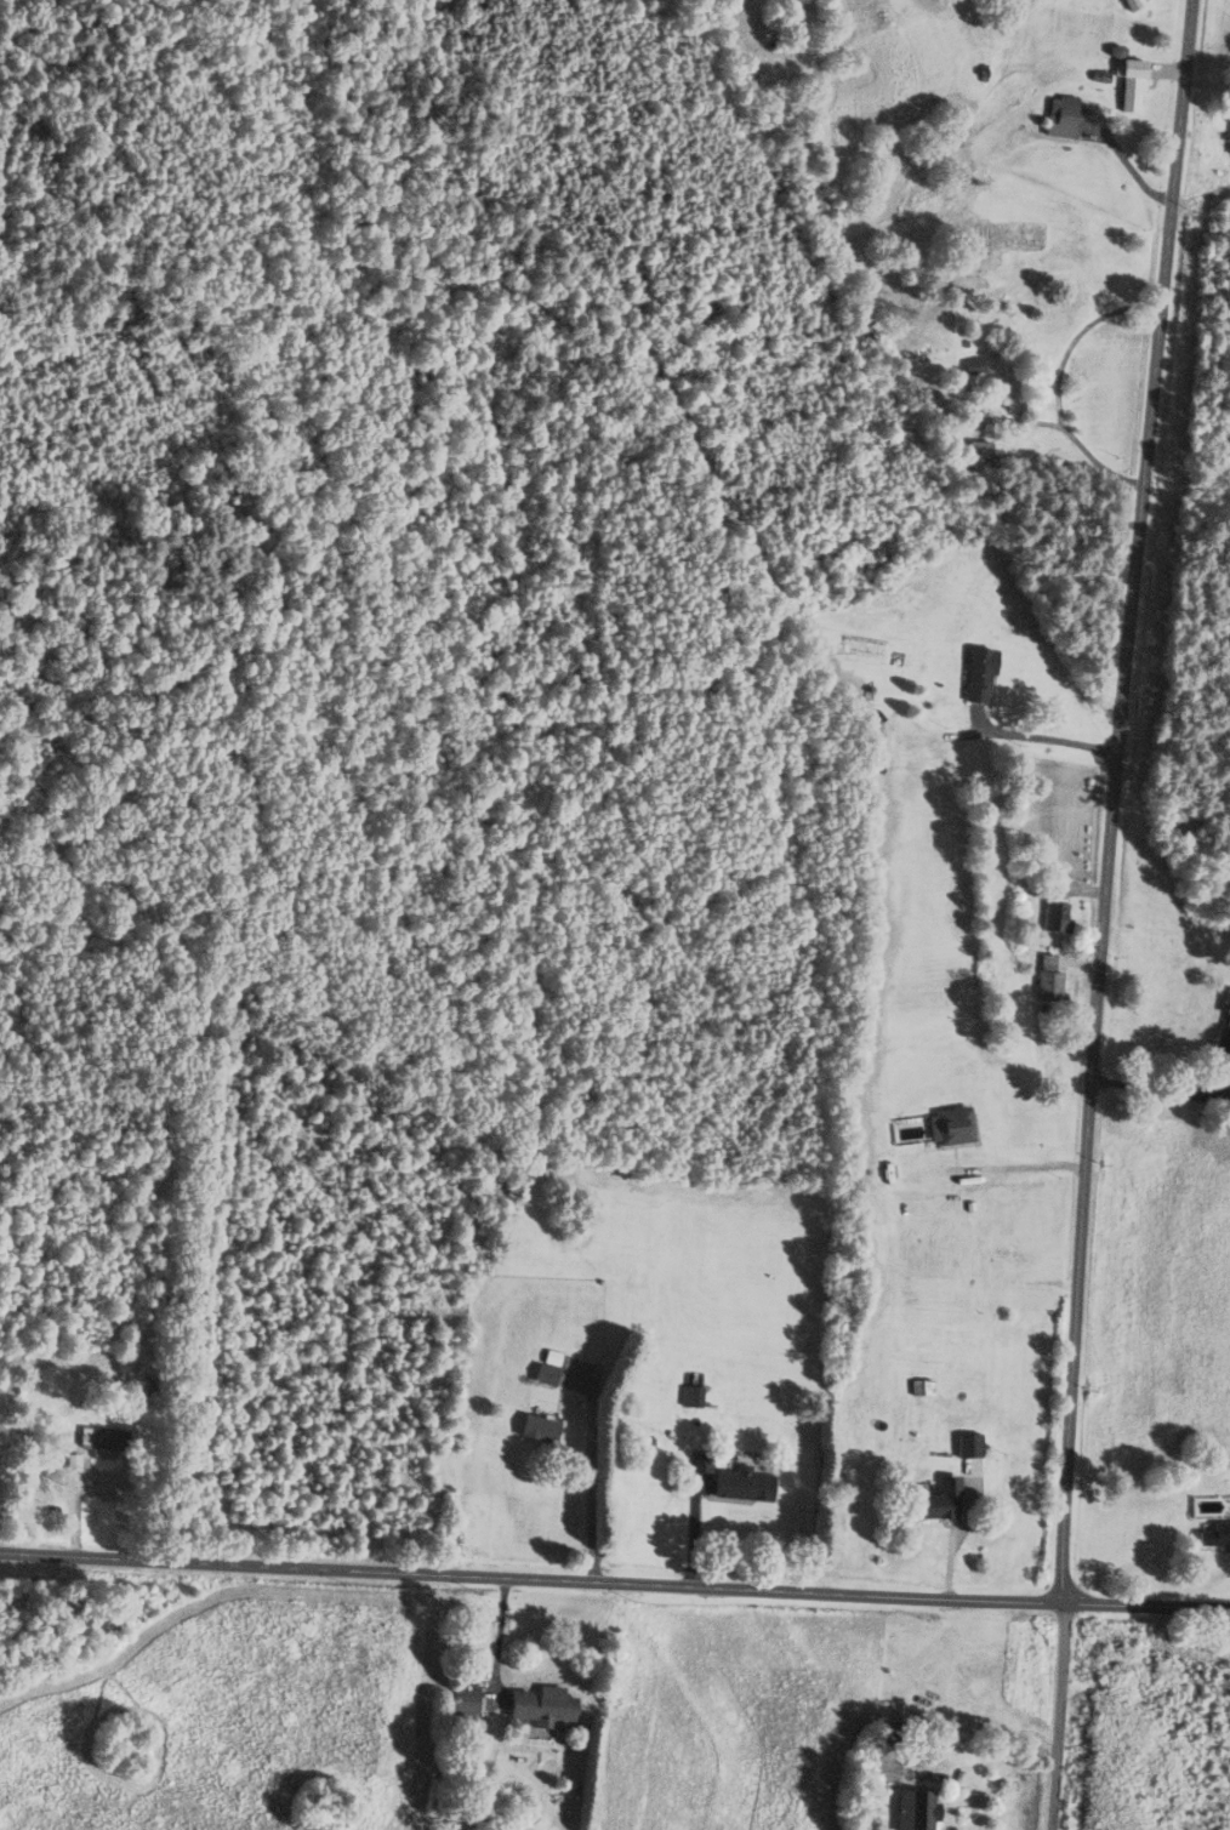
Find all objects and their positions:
road: (1060, 383)
building: (1014, 384)
building: (983, 675)
road: (1048, 737)
road: (1114, 814)
building: (1061, 917)
building: (1053, 980)
building: (1225, 1039)
building: (934, 1129)
building: (548, 1375)
building: (922, 1389)
building: (694, 1397)
building: (541, 1430)
building: (98, 1440)
building: (746, 1486)
building: (941, 1503)
building: (1217, 1538)
road: (615, 1578)
building: (467, 1704)
building: (545, 1706)
road: (1058, 1731)
building: (890, 1762)
building: (917, 1809)

